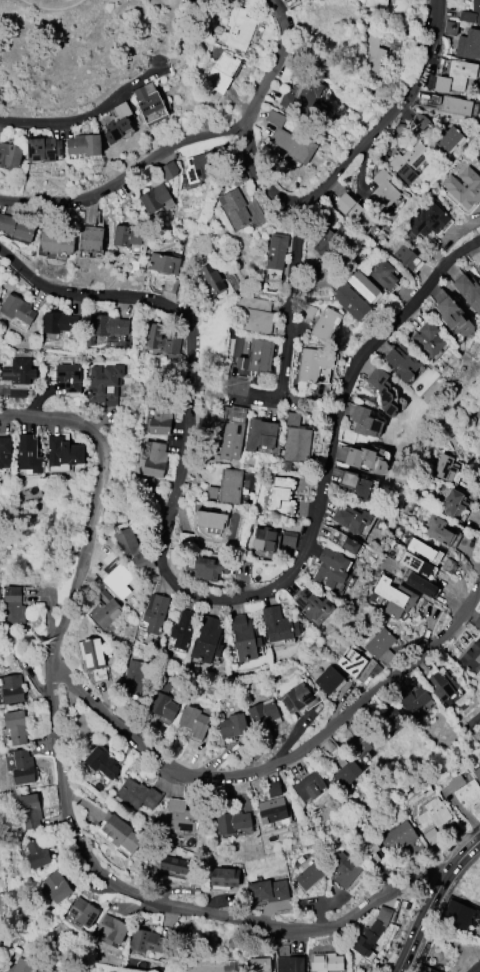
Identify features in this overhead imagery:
building: (376, 4)
road: (56, 9)
building: (471, 13)
building: (239, 28)
building: (450, 28)
building: (469, 44)
park: (73, 46)
building: (372, 55)
road: (271, 69)
building: (222, 73)
building: (456, 77)
building: (303, 96)
building: (151, 104)
building: (457, 105)
road: (83, 117)
building: (119, 123)
building: (449, 139)
building: (291, 140)
building: (85, 145)
building: (45, 149)
road: (352, 154)
building: (10, 155)
building: (409, 162)
building: (198, 168)
building: (169, 171)
road: (119, 182)
building: (385, 190)
building: (463, 190)
building: (154, 198)
building: (235, 207)
building: (354, 212)
building: (428, 220)
building: (16, 227)
building: (128, 235)
building: (91, 239)
building: (331, 241)
building: (57, 243)
building: (277, 251)
building: (406, 257)
building: (164, 263)
building: (478, 268)
building: (383, 274)
building: (213, 278)
building: (169, 286)
building: (363, 286)
building: (469, 291)
building: (350, 301)
building: (18, 309)
building: (255, 313)
road: (290, 315)
building: (455, 318)
building: (60, 322)
building: (109, 325)
building: (325, 326)
building: (153, 337)
building: (428, 340)
building: (260, 355)
building: (403, 361)
building: (313, 364)
building: (19, 377)
building: (70, 377)
building: (104, 383)
road: (188, 386)
building: (383, 390)
road: (336, 417)
building: (160, 421)
building: (366, 423)
building: (260, 435)
building: (232, 436)
building: (297, 440)
building: (478, 441)
building: (63, 452)
building: (5, 453)
building: (28, 454)
building: (369, 459)
building: (157, 461)
building: (446, 468)
building: (359, 485)
building: (227, 488)
building: (282, 495)
building: (454, 504)
building: (211, 519)
building: (352, 519)
building: (438, 530)
building: (323, 531)
building: (128, 542)
building: (265, 542)
building: (343, 542)
building: (422, 549)
building: (416, 564)
building: (207, 567)
building: (332, 568)
building: (118, 578)
building: (421, 585)
building: (396, 597)
building: (312, 605)
building: (15, 607)
building: (105, 611)
building: (156, 614)
building: (478, 623)
building: (280, 624)
building: (184, 629)
building: (246, 638)
building: (208, 640)
building: (382, 647)
building: (472, 656)
building: (94, 659)
building: (352, 663)
building: (133, 678)
building: (329, 679)
building: (441, 687)
building: (13, 689)
building: (300, 698)
building: (416, 700)
building: (163, 703)
building: (264, 713)
building: (391, 719)
building: (194, 721)
building: (233, 726)
building: (17, 727)
building: (365, 743)
road: (277, 761)
building: (105, 764)
building: (23, 767)
building: (347, 774)
building: (477, 774)
building: (310, 786)
building: (273, 789)
building: (465, 791)
building: (139, 795)
road: (64, 799)
building: (30, 811)
building: (273, 812)
building: (435, 813)
building: (182, 816)
building: (235, 820)
building: (118, 834)
building: (398, 837)
building: (370, 848)
building: (37, 853)
building: (174, 864)
building: (345, 870)
building: (225, 876)
building: (310, 876)
building: (57, 887)
building: (269, 890)
road: (434, 904)
building: (84, 911)
building: (460, 914)
building: (113, 929)
building: (372, 932)
building: (148, 942)
building: (0, 944)
building: (1, 962)
building: (326, 962)
building: (291, 964)
building: (259, 965)
building: (19, 966)
building: (475, 967)
building: (177, 968)
building: (425, 969)

